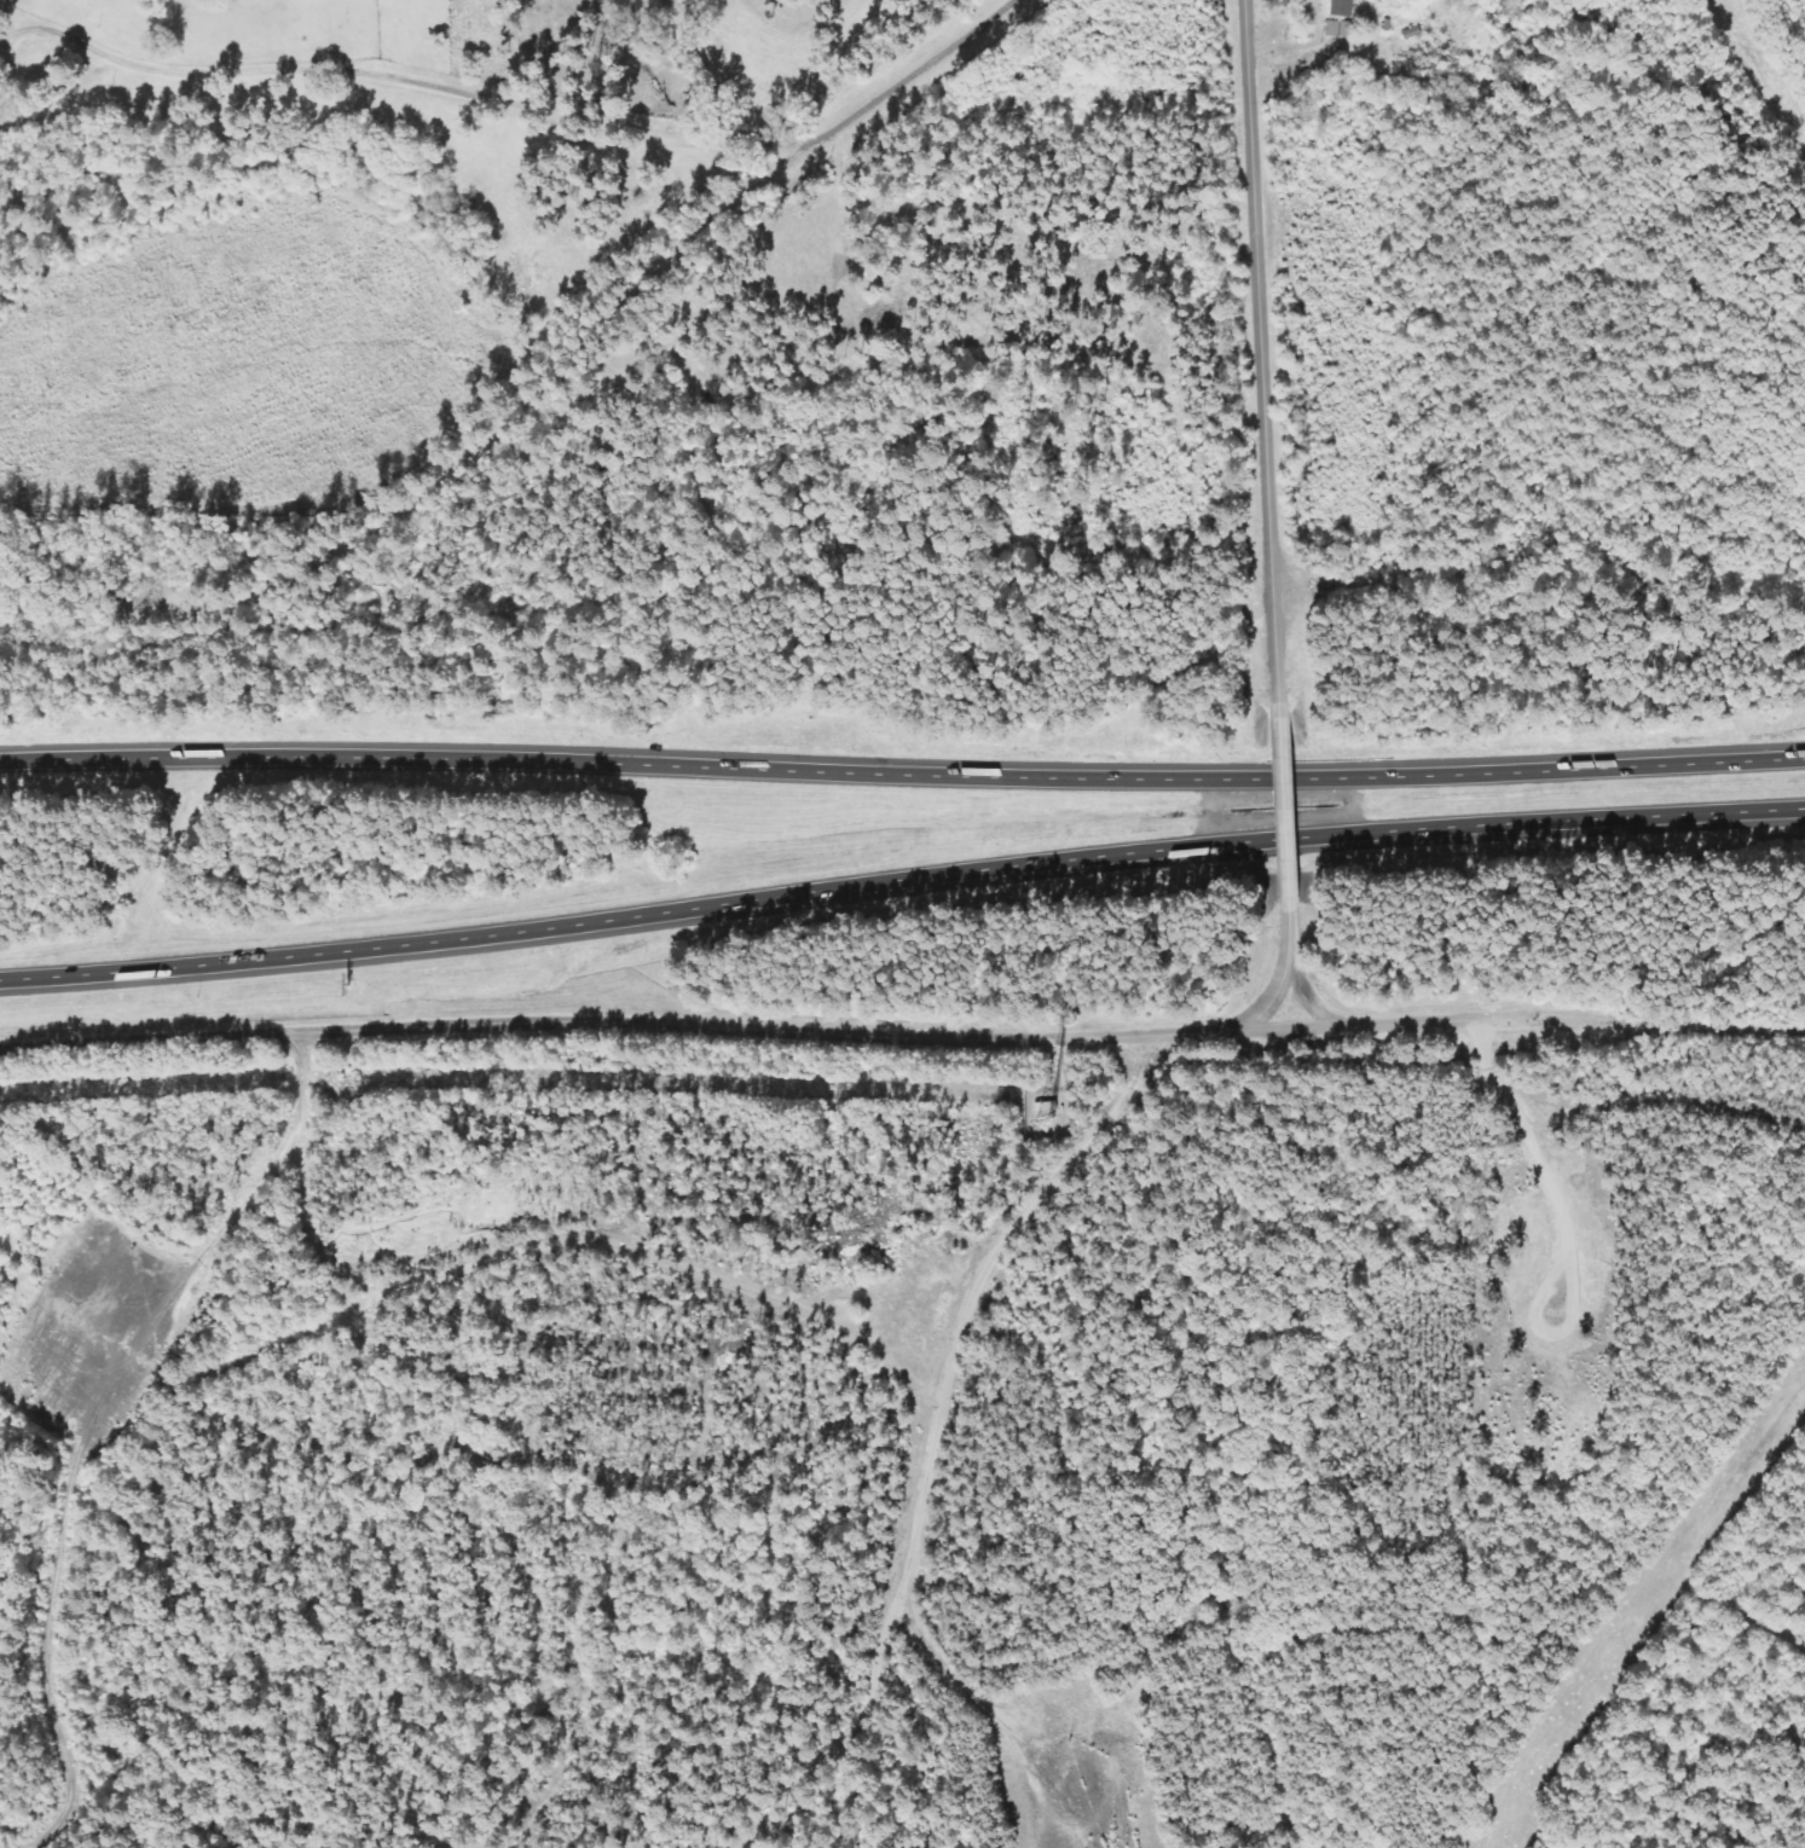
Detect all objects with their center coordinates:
building: (1342, 7)
building: (1341, 29)
road: (1259, 352)
road: (902, 772)
road: (1290, 804)
road: (901, 879)
road: (1277, 984)
road: (1312, 996)
road: (799, 1030)

